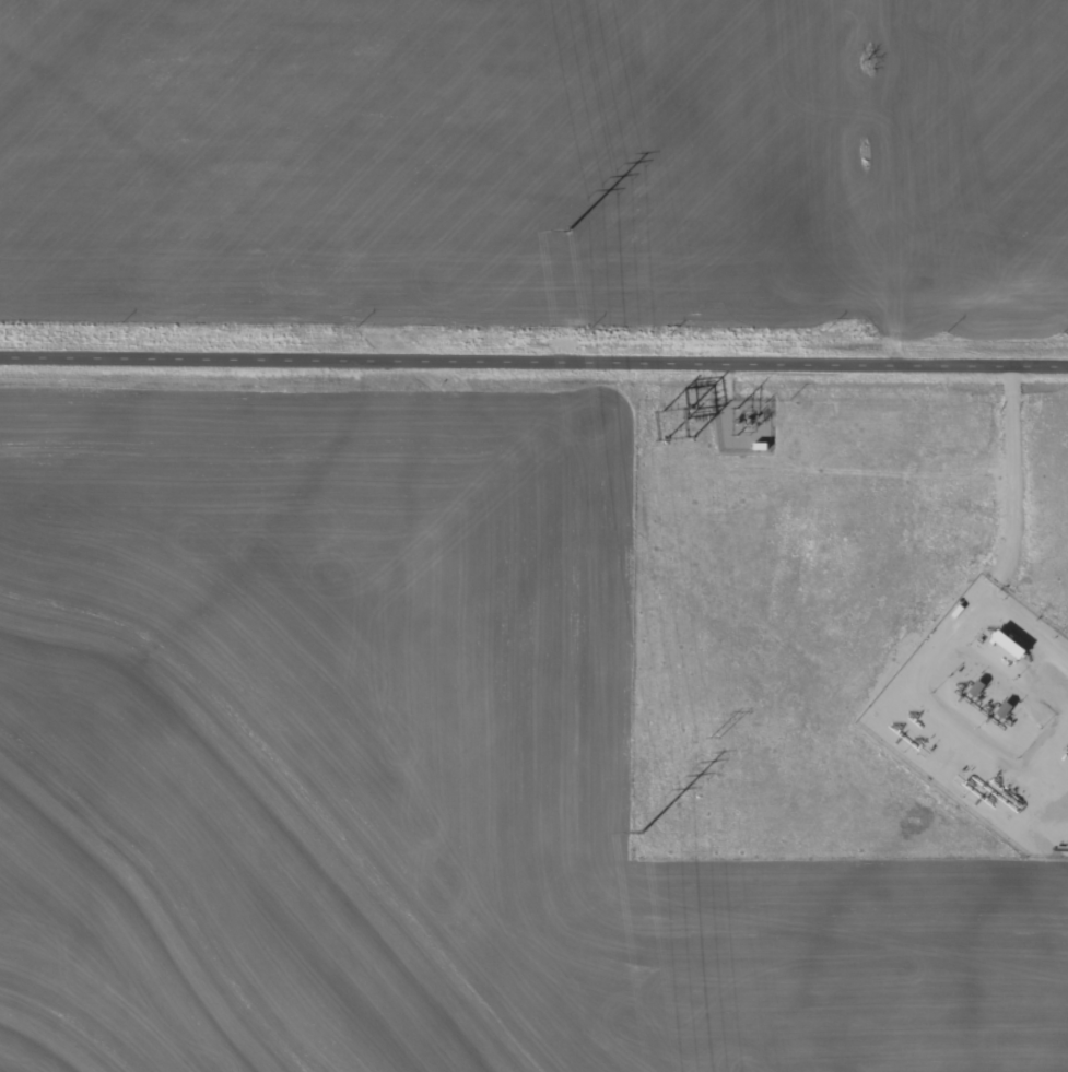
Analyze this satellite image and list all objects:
power tower: (570, 232)
power tower: (668, 335)
road: (533, 367)
power substation: (741, 424)
power tower: (714, 737)
power tower: (642, 832)

